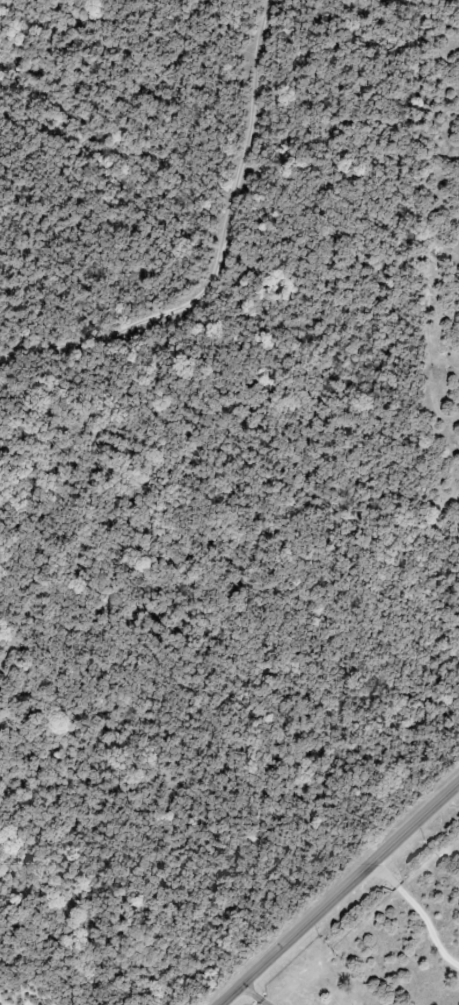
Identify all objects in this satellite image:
road: (205, 238)
road: (341, 894)
road: (253, 996)

